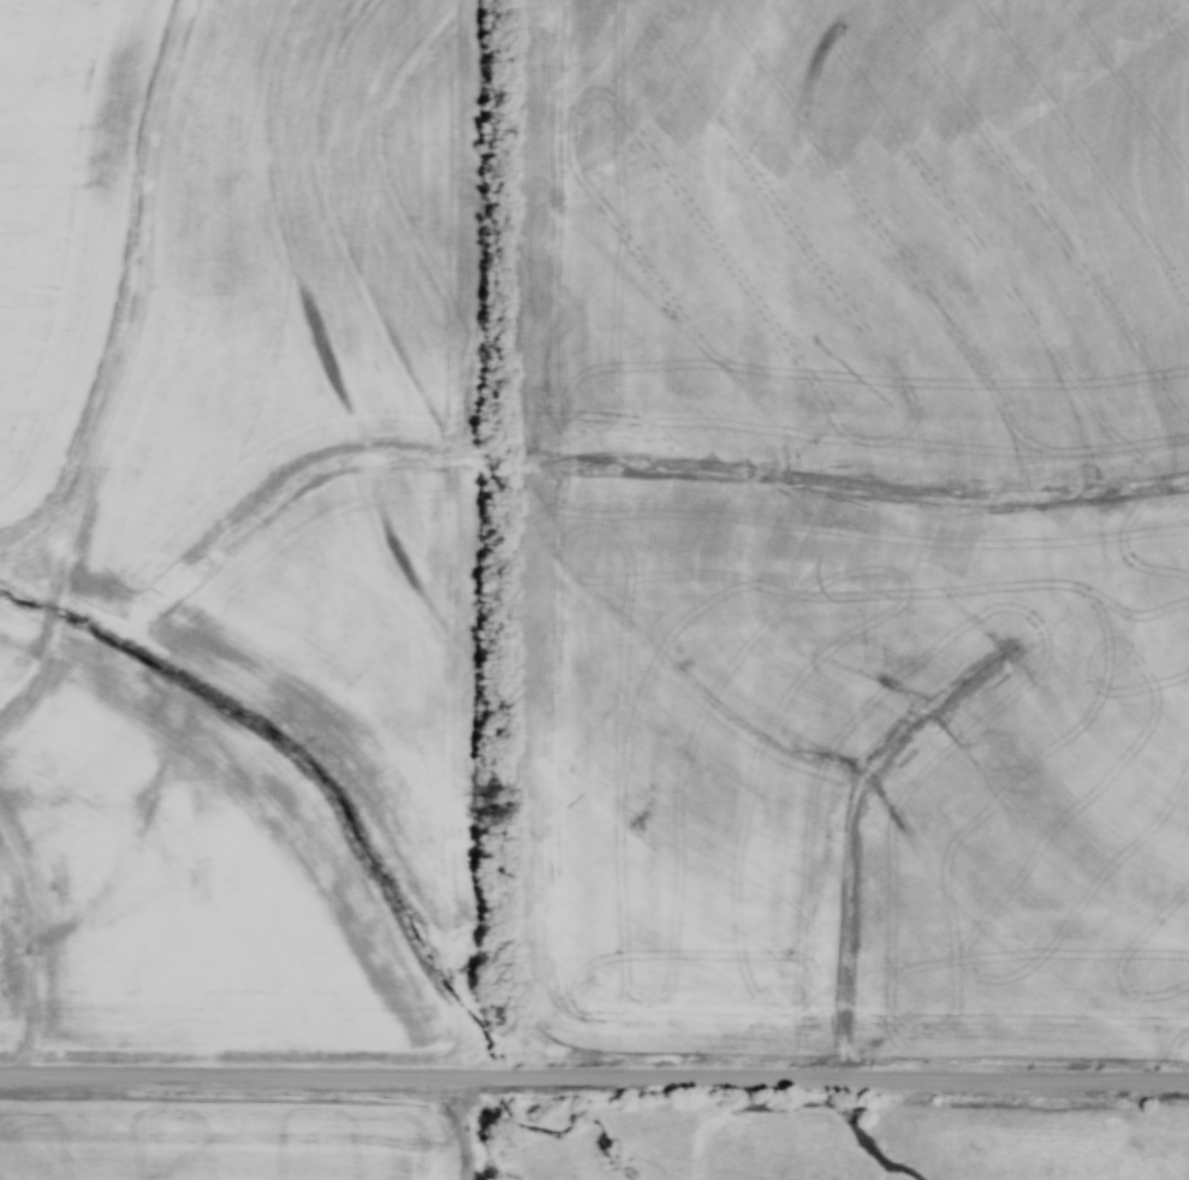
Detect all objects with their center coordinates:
road: (594, 1083)

